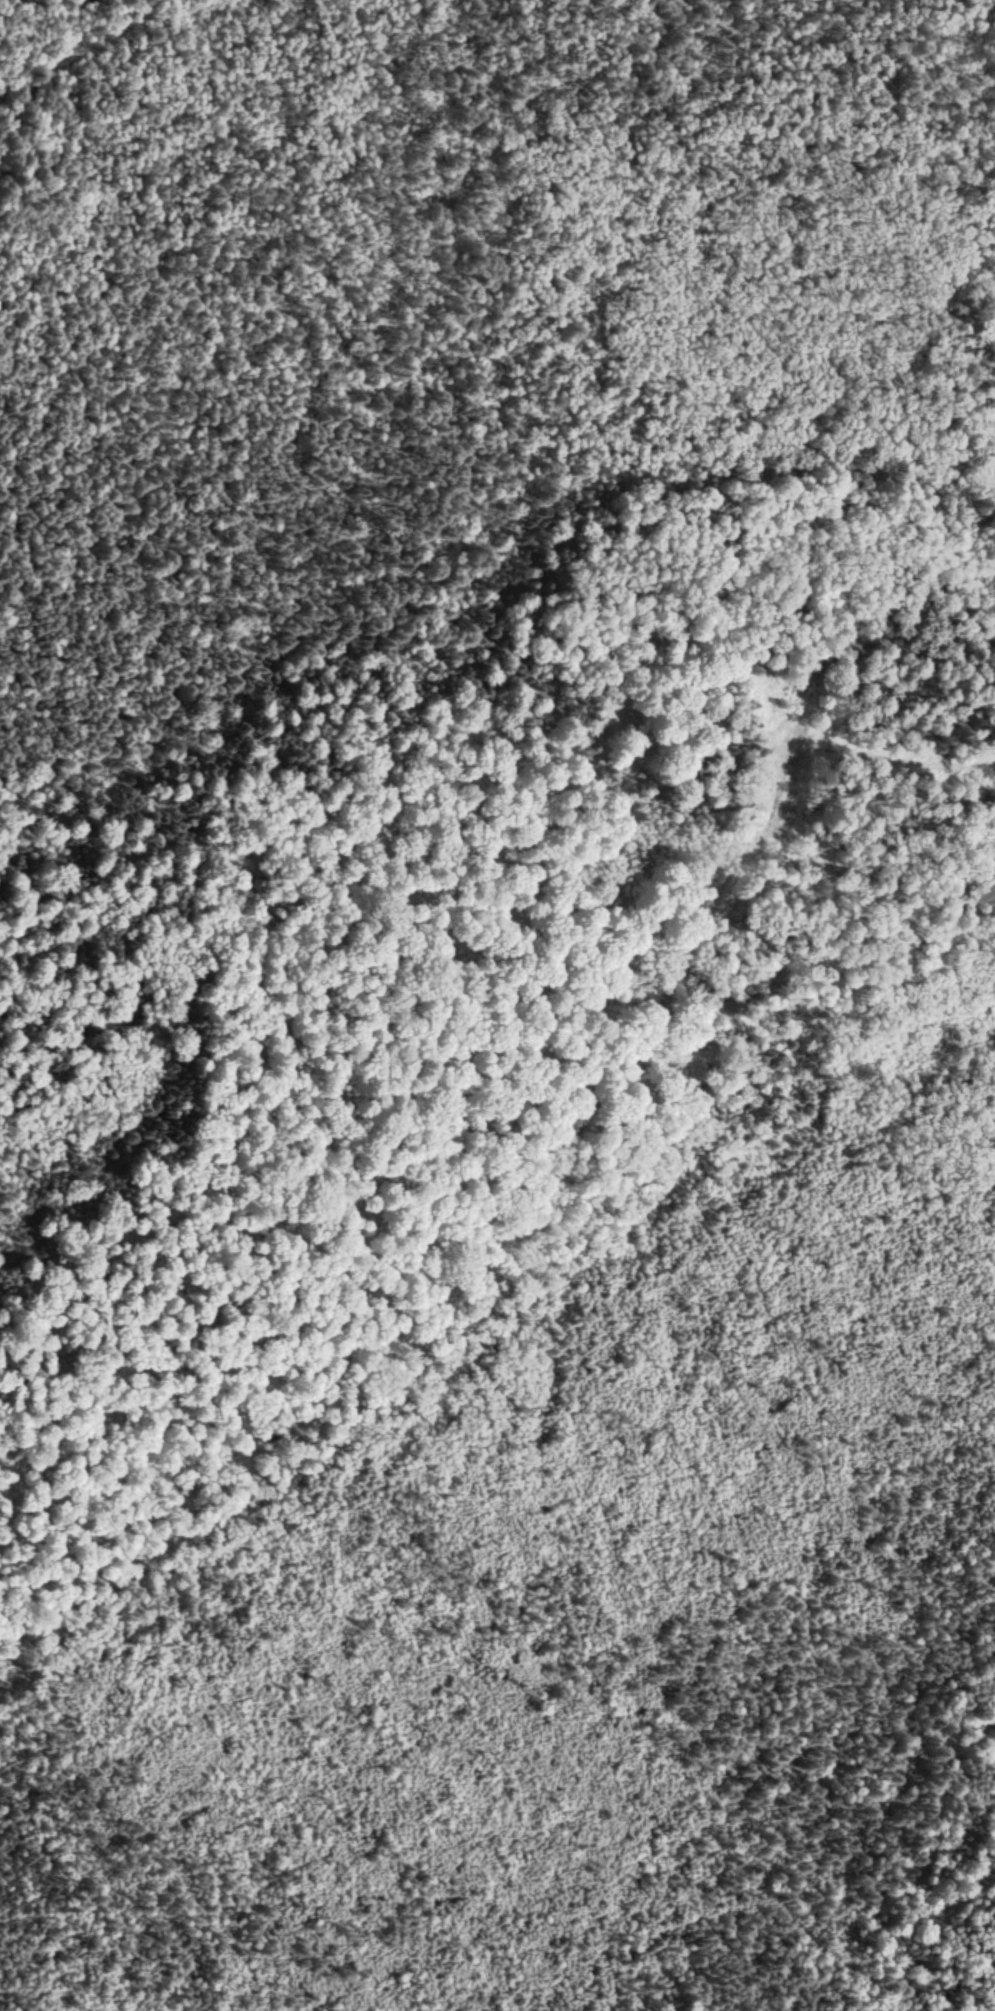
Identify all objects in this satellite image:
river: (47, 72)

